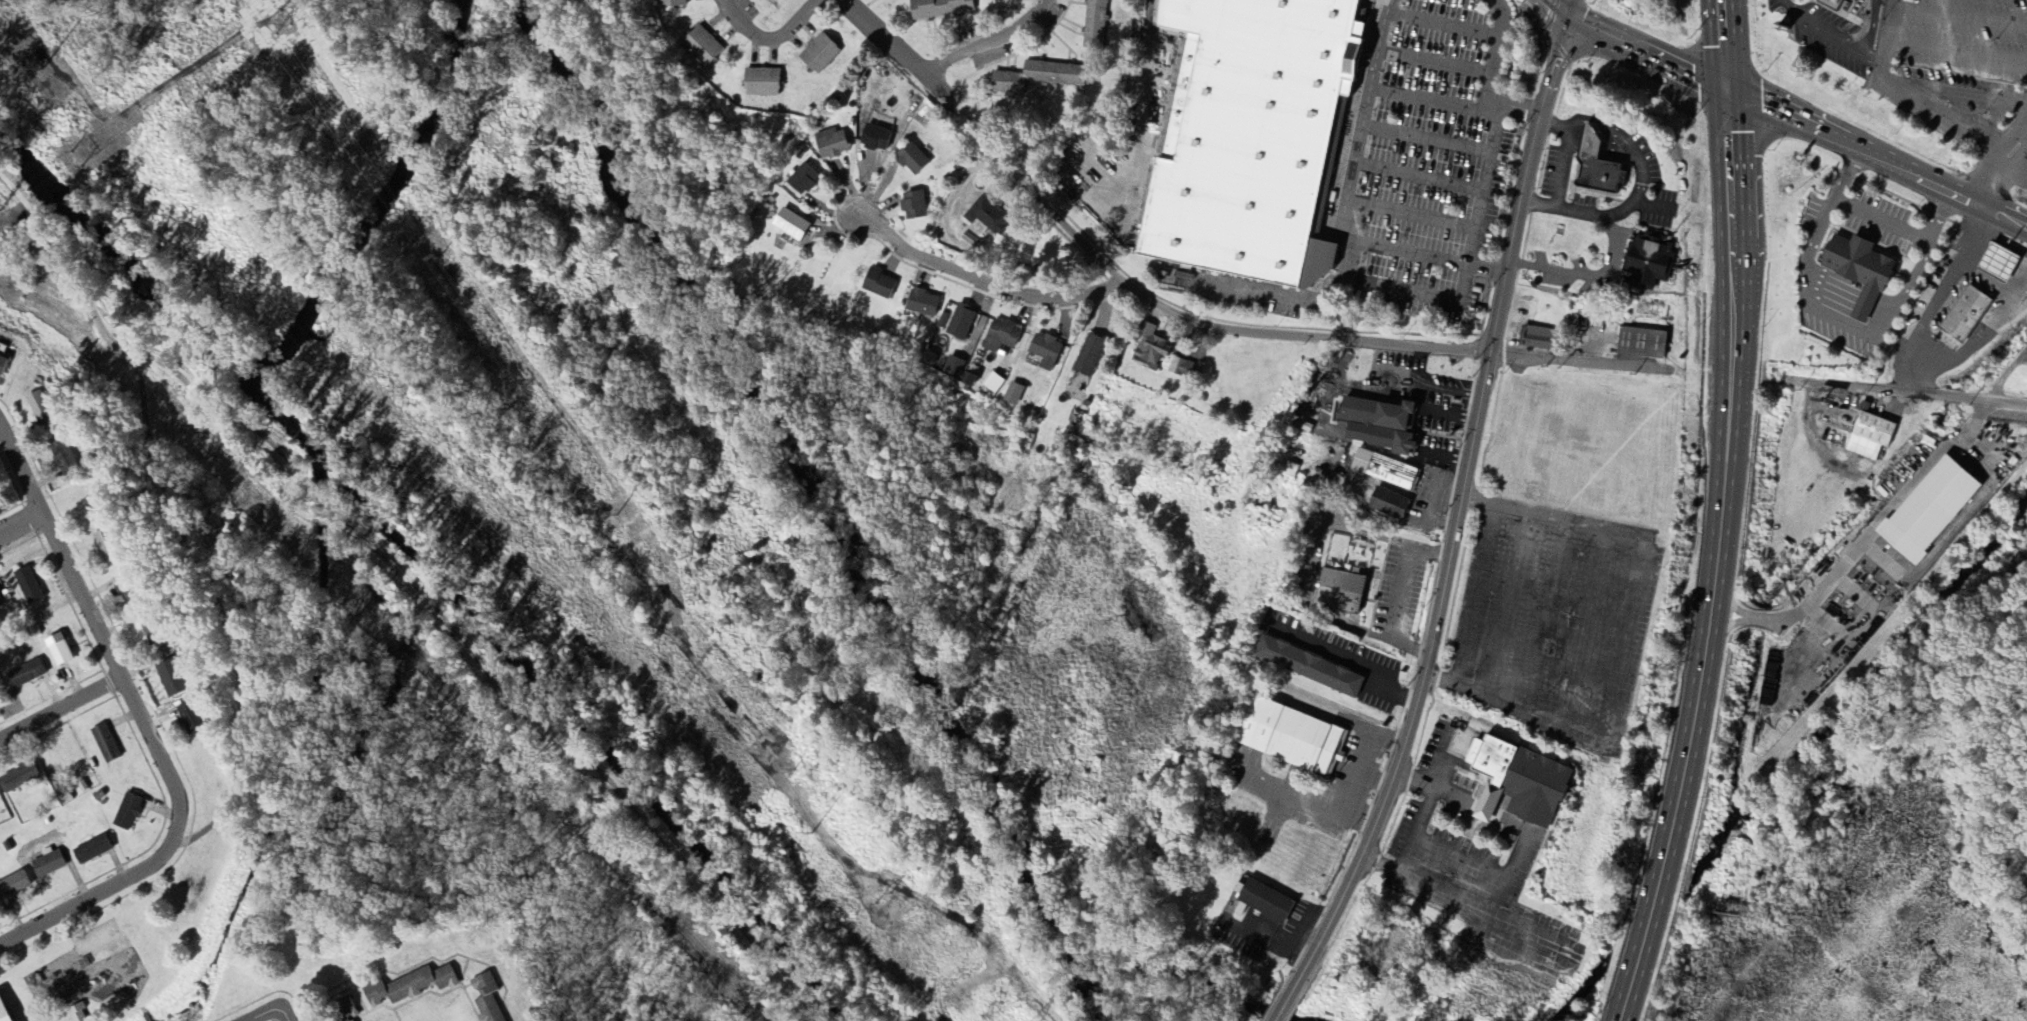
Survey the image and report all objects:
building: (771, 2)
building: (671, 3)
building: (1828, 4)
building: (938, 8)
road: (1568, 8)
traffic signals: (1565, 17)
road: (1872, 18)
building: (1094, 24)
road: (1439, 24)
road: (1819, 29)
road: (883, 35)
road: (771, 38)
road: (1865, 41)
road: (990, 43)
road: (1726, 46)
building: (701, 47)
parking lot: (1915, 47)
road: (1635, 49)
building: (818, 54)
road: (1872, 54)
road: (1432, 61)
power tower: (40, 69)
road: (1488, 75)
building: (1037, 78)
building: (760, 83)
road: (817, 84)
traffic signals: (1730, 93)
road: (1958, 96)
road: (1431, 100)
road: (1913, 100)
road: (1559, 123)
road: (1605, 128)
building: (1247, 136)
road: (1423, 136)
building: (874, 139)
building: (830, 144)
road: (2010, 156)
road: (1879, 158)
building: (910, 160)
parking lot: (1426, 164)
road: (1558, 165)
building: (1596, 168)
road: (1415, 174)
building: (801, 180)
road: (1481, 185)
road: (1834, 193)
building: (912, 206)
road: (1406, 212)
road: (1606, 214)
road: (1937, 215)
building: (985, 217)
road: (1880, 219)
building: (790, 225)
road: (1346, 230)
road: (2000, 243)
road: (1406, 253)
building: (1648, 263)
building: (1997, 264)
building: (1857, 272)
road: (1585, 275)
road: (1982, 278)
road: (1941, 283)
building: (877, 284)
road: (970, 285)
road: (1264, 292)
building: (921, 303)
building: (1964, 316)
building: (960, 323)
road: (1983, 329)
road: (1225, 330)
road: (1858, 330)
building: (1000, 337)
building: (1541, 339)
building: (1641, 344)
building: (1149, 347)
building: (1044, 352)
building: (1088, 356)
road: (154, 361)
road: (1574, 362)
building: (1, 364)
building: (953, 368)
building: (1180, 369)
road: (2006, 373)
power tower: (352, 381)
building: (968, 381)
road: (1918, 381)
building: (994, 384)
road: (1913, 394)
building: (1013, 395)
building: (39, 409)
road: (1973, 416)
building: (1378, 426)
building: (1869, 437)
building: (62, 457)
building: (1384, 471)
road: (1907, 484)
building: (1387, 505)
building: (1929, 511)
road: (321, 522)
road: (21, 523)
road: (1951, 529)
road: (1456, 531)
building: (105, 549)
road: (1719, 561)
building: (27, 586)
building: (1339, 593)
road: (1399, 597)
building: (0, 603)
road: (1797, 608)
road: (1606, 639)
building: (60, 653)
building: (1307, 668)
building: (26, 674)
building: (171, 678)
park: (380, 690)
power tower: (673, 697)
road: (60, 708)
building: (189, 718)
road: (143, 723)
building: (1290, 739)
building: (104, 744)
road: (577, 763)
building: (18, 778)
building: (1517, 783)
road: (1437, 790)
road: (1485, 810)
building: (125, 813)
road: (1415, 830)
building: (91, 850)
building: (47, 865)
building: (13, 885)
building: (1263, 903)
road: (1482, 910)
road: (415, 965)
building: (408, 987)
building: (486, 998)
building: (342, 1010)
building: (77, 1013)
building: (3, 1014)
road: (260, 1014)
road: (280, 1014)

